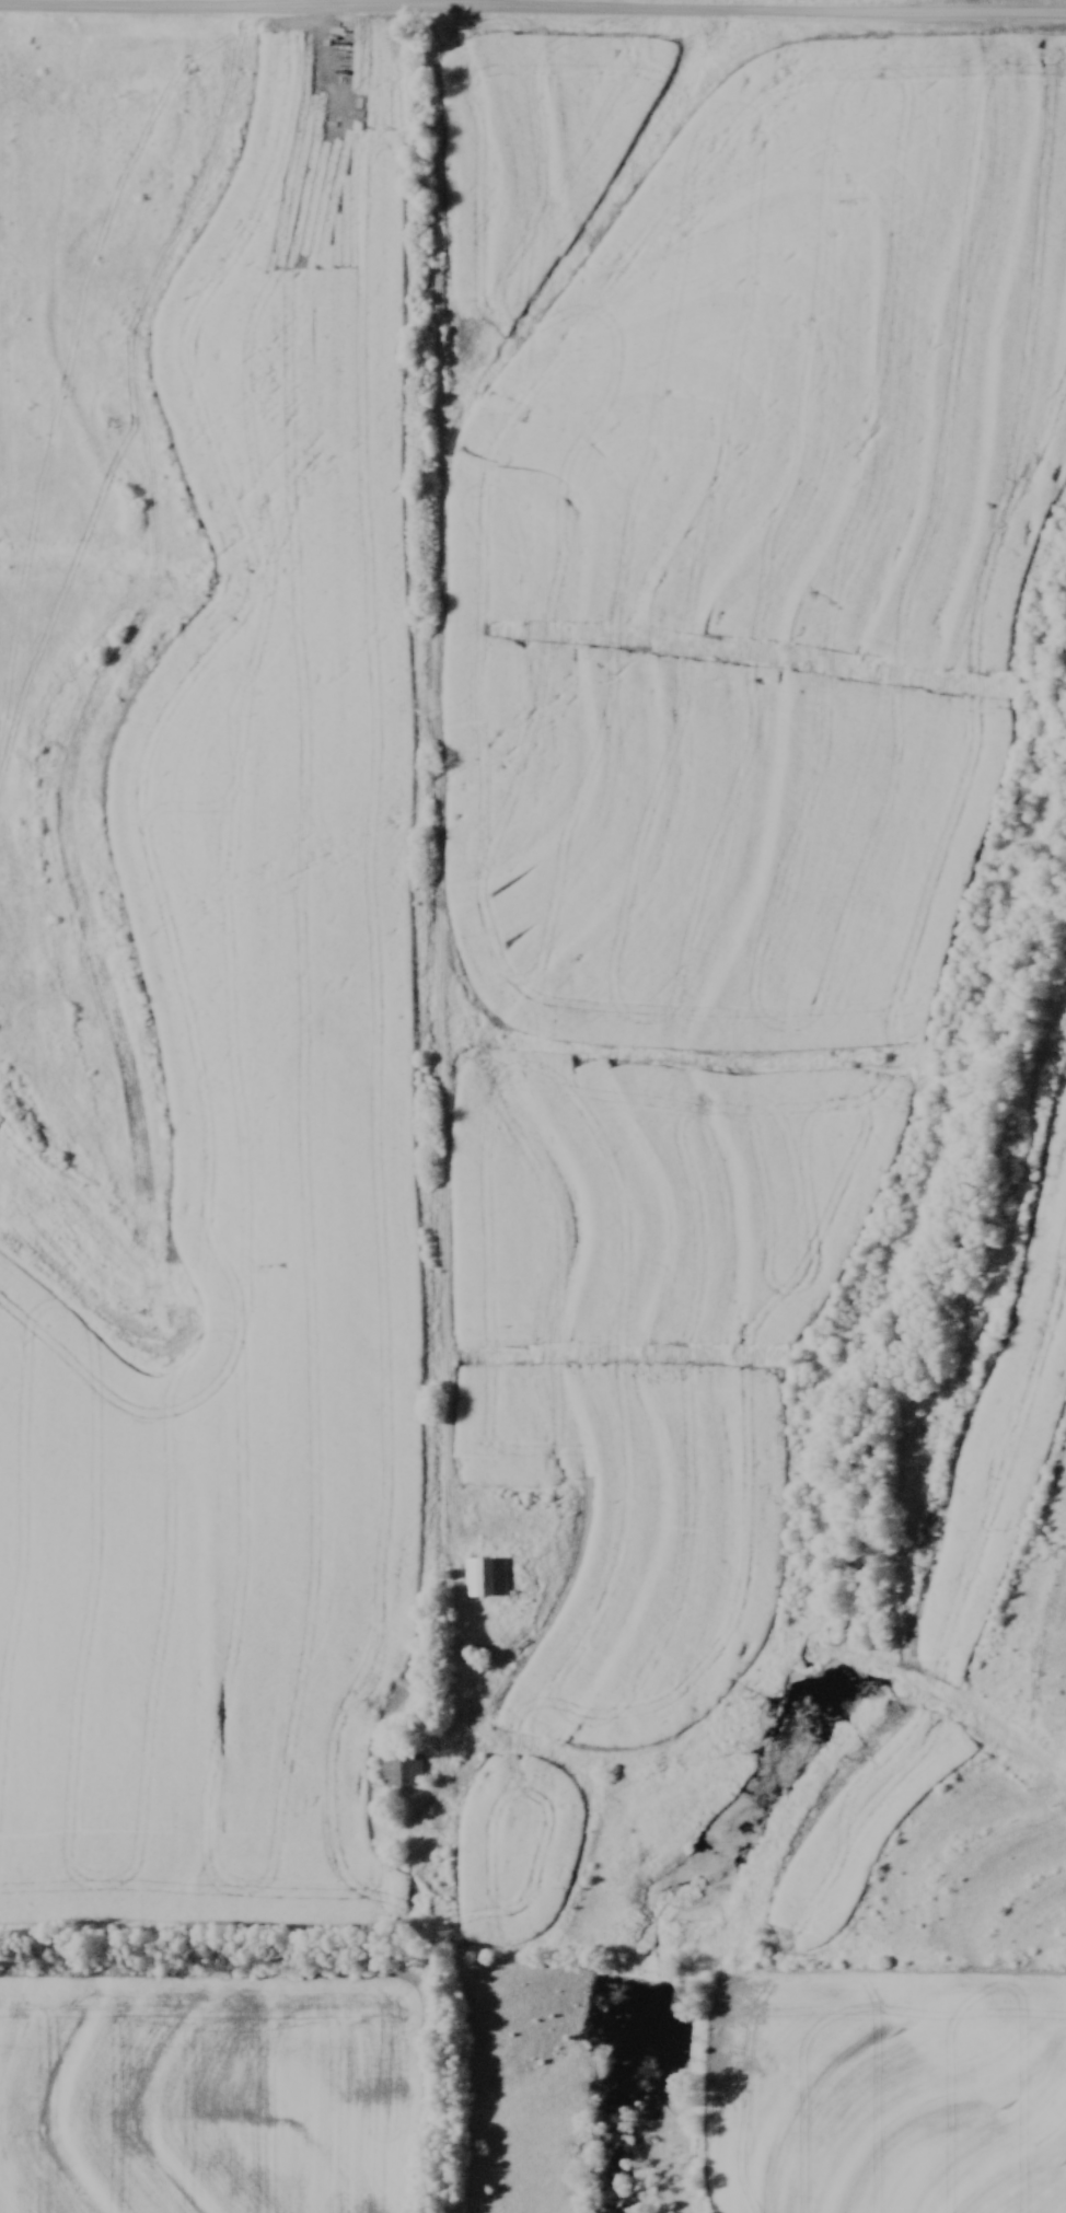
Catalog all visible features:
road: (329, 4)
road: (532, 11)
building: (485, 1575)
building: (401, 1769)

